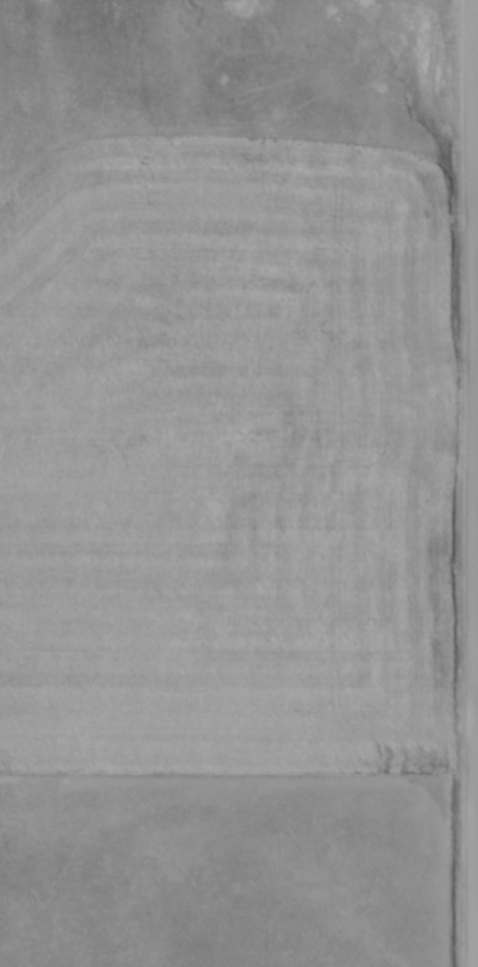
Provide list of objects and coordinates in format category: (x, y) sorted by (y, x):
road: (477, 483)

